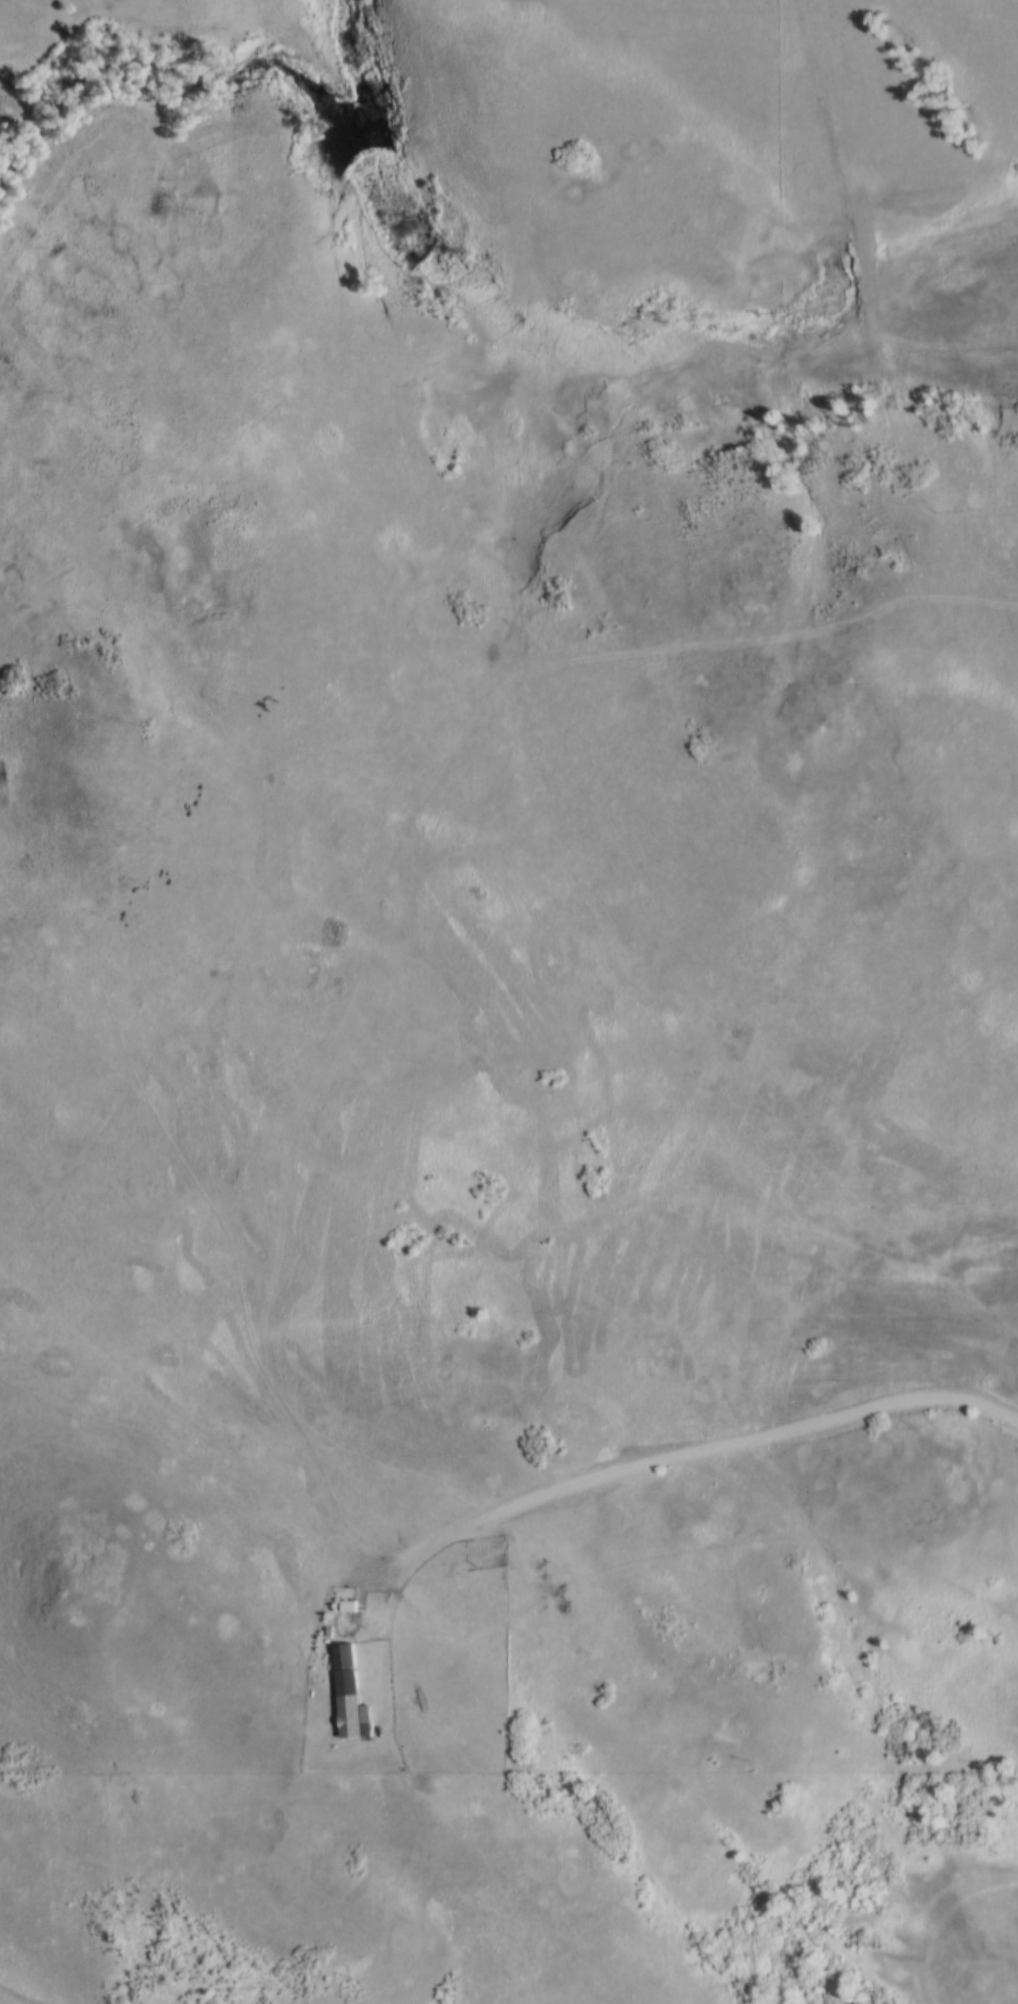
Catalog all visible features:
road: (635, 1467)
building: (344, 1605)
building: (337, 1655)
building: (347, 1705)

